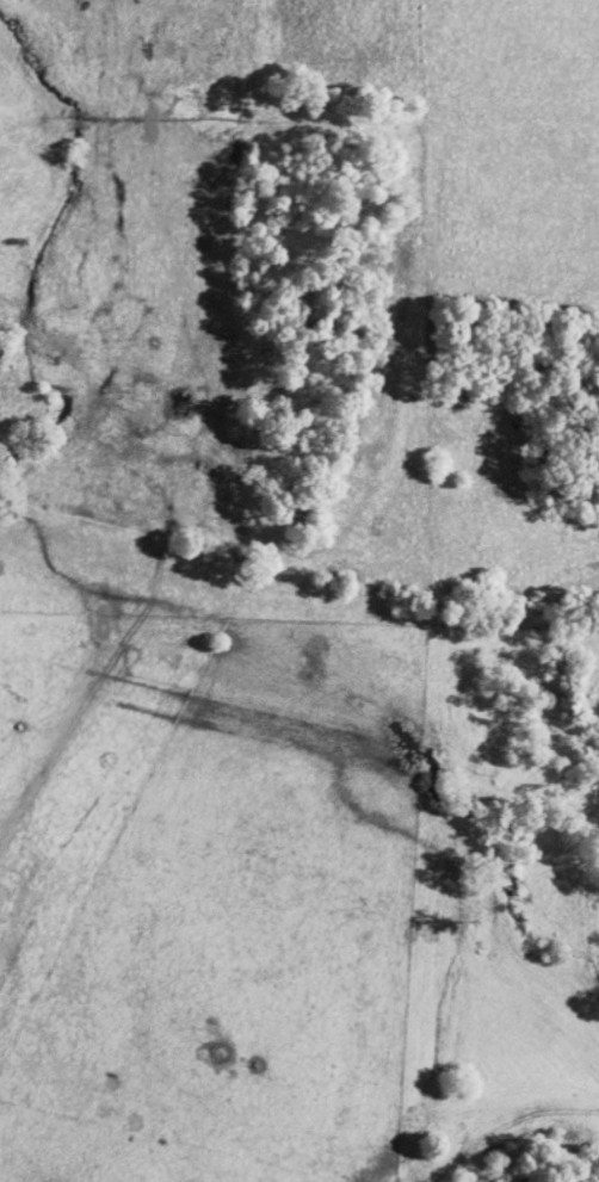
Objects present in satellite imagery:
crop: (290, 889)

